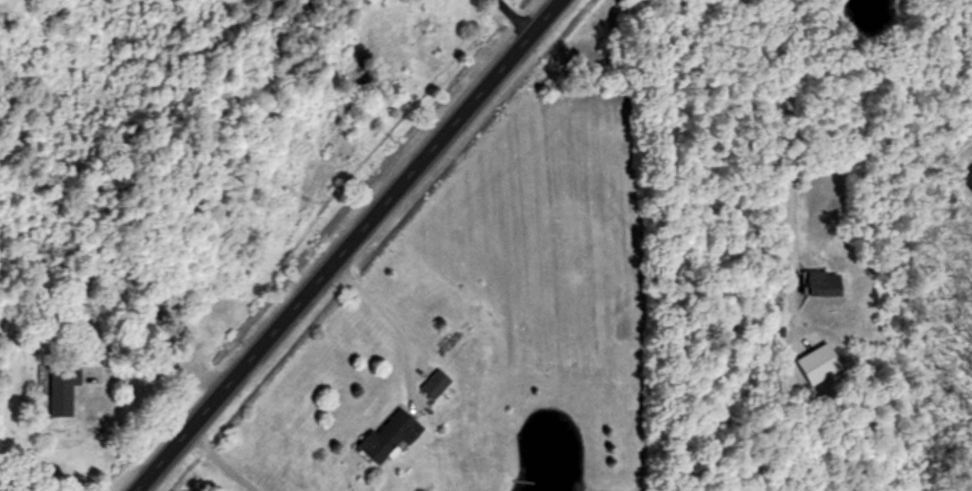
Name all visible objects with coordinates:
road: (515, 15)
road: (790, 134)
building: (970, 174)
road: (344, 246)
building: (826, 283)
road: (387, 317)
road: (166, 368)
building: (60, 387)
building: (392, 435)
road: (217, 461)

